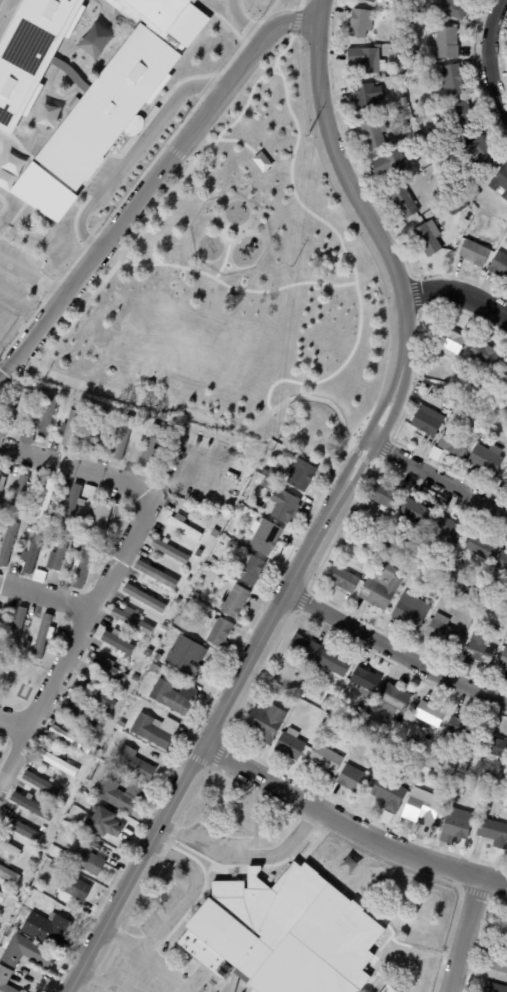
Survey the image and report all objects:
building: (370, 0)
building: (452, 8)
road: (6, 11)
road: (243, 21)
building: (360, 23)
building: (393, 36)
building: (447, 42)
road: (283, 52)
building: (31, 53)
building: (366, 59)
road: (487, 59)
road: (273, 67)
building: (411, 72)
building: (451, 80)
building: (365, 97)
building: (403, 101)
building: (110, 103)
building: (459, 116)
building: (372, 135)
road: (131, 152)
building: (450, 152)
building: (481, 153)
building: (391, 165)
building: (462, 170)
building: (500, 181)
road: (148, 182)
road: (293, 192)
building: (477, 193)
building: (472, 198)
building: (404, 204)
building: (455, 210)
road: (221, 236)
building: (426, 240)
building: (473, 254)
building: (499, 265)
road: (195, 270)
road: (30, 276)
park: (237, 289)
road: (455, 292)
road: (78, 314)
building: (451, 338)
building: (484, 355)
building: (427, 366)
building: (505, 376)
building: (19, 383)
road: (278, 383)
building: (42, 392)
building: (481, 394)
road: (143, 401)
building: (448, 403)
building: (20, 409)
building: (119, 410)
building: (45, 419)
building: (488, 422)
building: (429, 423)
road: (359, 427)
building: (69, 428)
building: (168, 428)
building: (3, 429)
building: (98, 433)
building: (26, 436)
building: (123, 438)
building: (453, 444)
building: (151, 446)
building: (486, 460)
building: (264, 472)
building: (232, 473)
building: (300, 474)
building: (37, 476)
building: (504, 476)
road: (438, 479)
building: (1, 481)
building: (266, 483)
building: (21, 491)
building: (88, 491)
road: (131, 491)
building: (385, 498)
building: (45, 500)
building: (72, 506)
building: (284, 506)
road: (330, 511)
building: (21, 513)
building: (415, 513)
building: (202, 517)
building: (99, 521)
building: (183, 527)
building: (29, 529)
building: (446, 531)
building: (263, 535)
building: (54, 538)
building: (352, 538)
building: (8, 543)
building: (231, 543)
building: (78, 545)
building: (218, 545)
building: (479, 547)
building: (32, 551)
building: (170, 552)
building: (198, 553)
building: (59, 556)
building: (211, 557)
building: (386, 557)
building: (502, 564)
building: (83, 566)
building: (251, 568)
building: (156, 575)
building: (38, 576)
building: (188, 579)
building: (342, 580)
building: (431, 583)
building: (381, 588)
building: (196, 595)
building: (144, 598)
road: (45, 599)
building: (177, 600)
building: (235, 601)
building: (502, 605)
building: (0, 611)
building: (410, 612)
building: (1, 616)
building: (132, 620)
building: (494, 629)
building: (17, 630)
building: (219, 631)
building: (441, 632)
building: (43, 636)
building: (158, 639)
building: (460, 639)
building: (118, 642)
building: (303, 648)
road: (394, 651)
building: (479, 651)
building: (185, 654)
building: (150, 655)
building: (157, 656)
building: (503, 661)
building: (333, 663)
building: (153, 669)
building: (108, 670)
building: (296, 676)
building: (134, 679)
building: (6, 682)
building: (364, 682)
building: (94, 693)
building: (172, 695)
road: (45, 700)
building: (392, 701)
building: (135, 702)
building: (328, 705)
building: (82, 714)
building: (104, 714)
building: (429, 714)
building: (360, 717)
building: (265, 723)
building: (119, 725)
road: (14, 728)
building: (154, 729)
building: (462, 729)
building: (351, 735)
building: (67, 738)
building: (289, 746)
building: (495, 749)
building: (392, 755)
building: (323, 760)
building: (403, 760)
building: (56, 762)
building: (133, 763)
building: (422, 769)
building: (350, 780)
building: (43, 785)
building: (119, 795)
building: (388, 795)
building: (489, 802)
building: (505, 802)
building: (31, 806)
building: (422, 809)
building: (104, 822)
road: (350, 826)
building: (455, 826)
building: (1, 827)
building: (21, 829)
building: (42, 829)
building: (493, 833)
building: (12, 848)
building: (89, 859)
road: (245, 859)
building: (9, 874)
building: (27, 875)
building: (23, 886)
building: (72, 887)
road: (188, 894)
building: (2, 898)
building: (65, 902)
building: (0, 912)
building: (504, 927)
building: (46, 929)
building: (6, 932)
building: (284, 934)
road: (465, 934)
building: (25, 953)
road: (144, 957)
building: (172, 957)
building: (499, 963)
parking lot: (138, 971)
building: (6, 980)
road: (97, 981)
building: (494, 987)
building: (386, 989)

